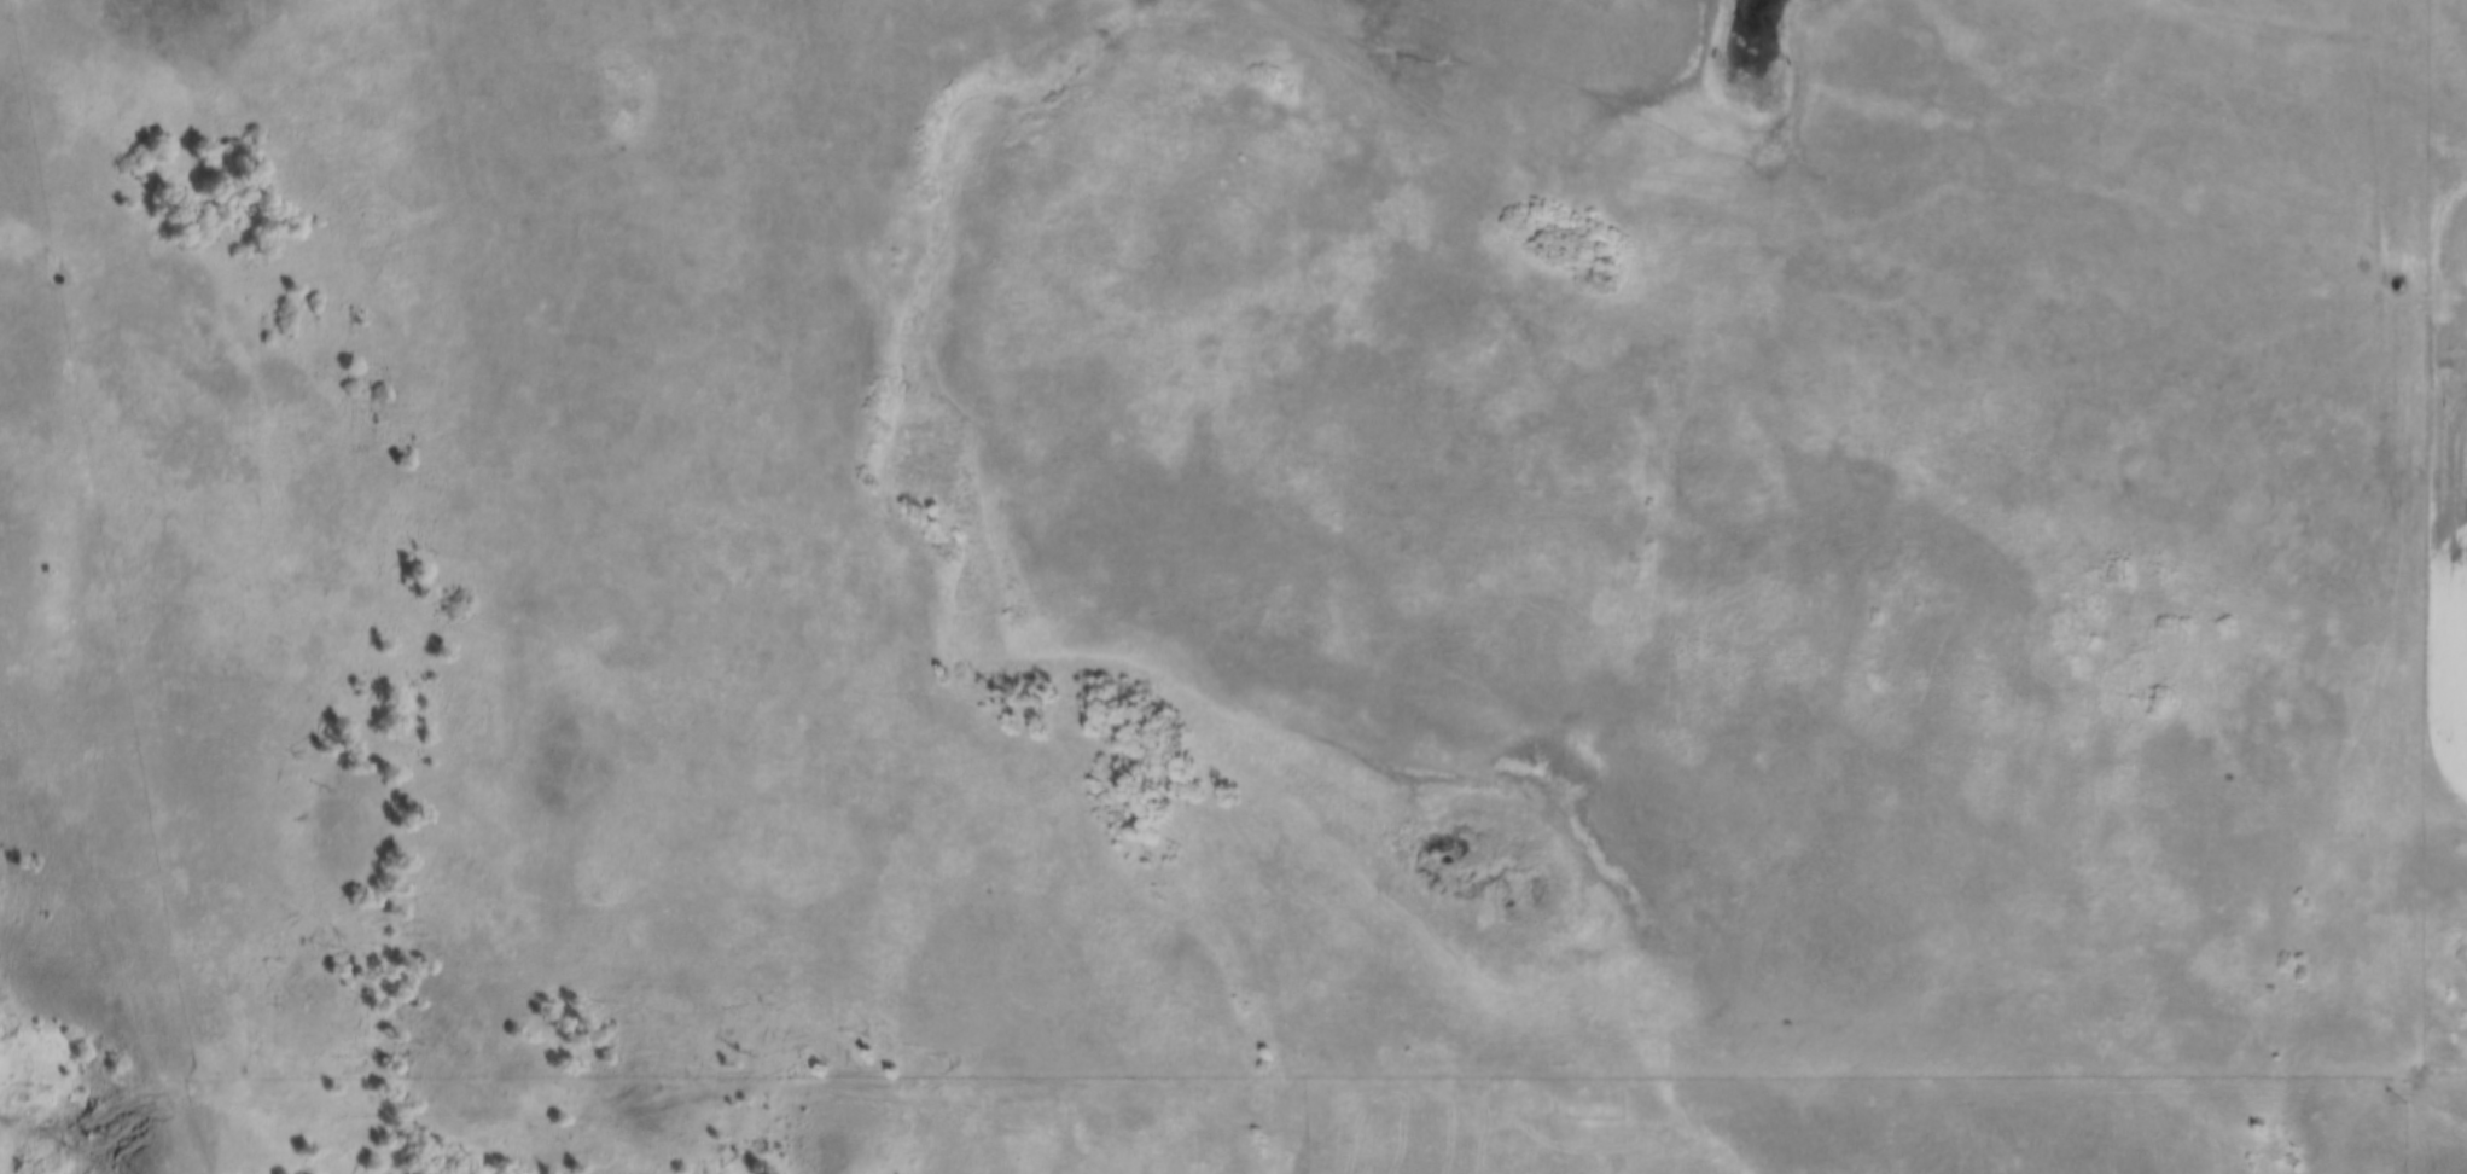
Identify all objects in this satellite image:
road: (2405, 562)

